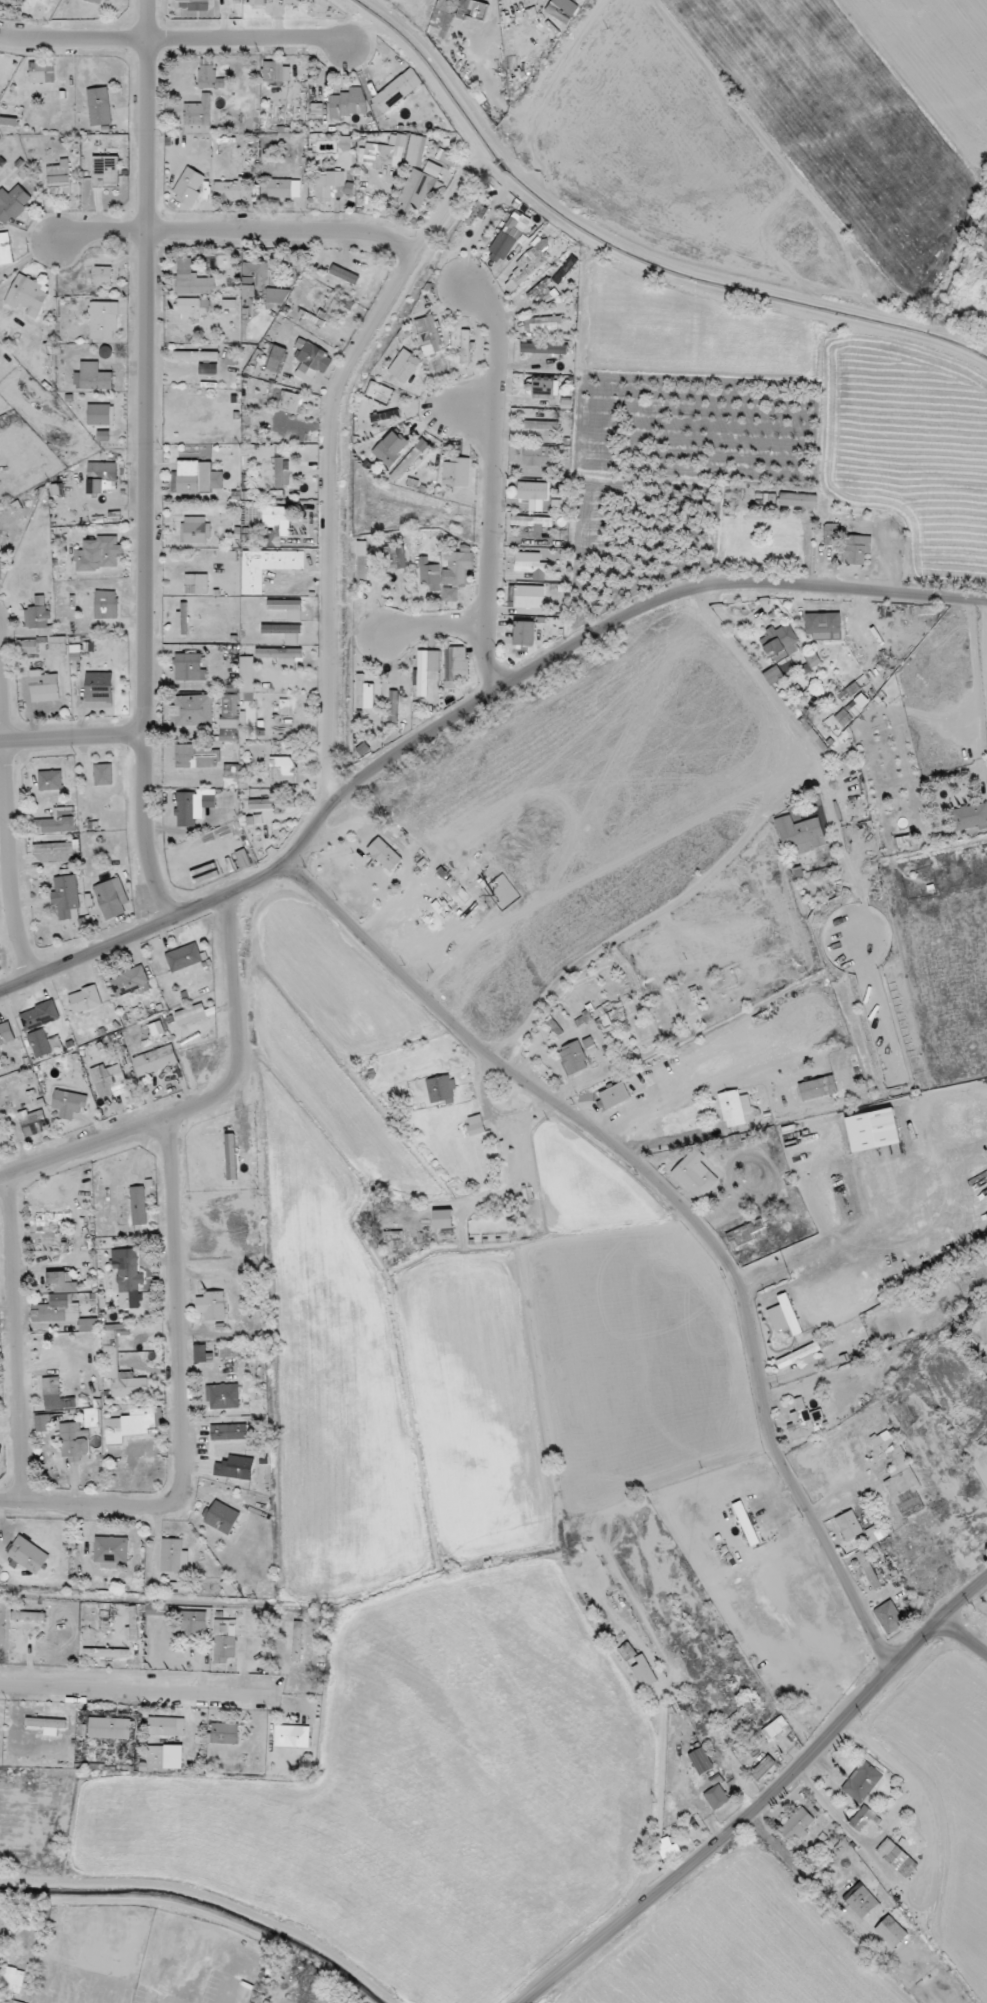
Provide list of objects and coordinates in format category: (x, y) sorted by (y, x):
building: (43, 0)
building: (96, 1)
building: (195, 4)
building: (257, 4)
building: (471, 9)
building: (559, 12)
building: (441, 18)
road: (176, 38)
building: (42, 72)
building: (276, 72)
building: (209, 75)
building: (397, 90)
building: (349, 103)
building: (99, 106)
building: (316, 110)
building: (198, 115)
building: (396, 140)
building: (415, 150)
building: (377, 155)
building: (441, 167)
building: (105, 170)
building: (59, 178)
building: (332, 186)
building: (189, 187)
building: (231, 188)
building: (284, 188)
building: (12, 203)
road: (231, 230)
building: (508, 237)
building: (5, 249)
building: (528, 264)
building: (565, 270)
building: (344, 274)
building: (103, 276)
building: (254, 280)
building: (192, 282)
building: (543, 292)
building: (28, 295)
building: (277, 295)
building: (191, 307)
building: (103, 320)
building: (542, 323)
building: (428, 335)
building: (465, 346)
building: (196, 355)
building: (275, 358)
building: (47, 359)
building: (310, 360)
building: (404, 365)
building: (208, 368)
building: (93, 377)
building: (542, 388)
building: (379, 392)
building: (289, 401)
road: (467, 413)
building: (99, 414)
building: (386, 415)
building: (541, 425)
building: (287, 436)
building: (391, 448)
building: (538, 455)
road: (331, 457)
building: (409, 460)
road: (147, 461)
building: (280, 471)
building: (457, 472)
building: (100, 475)
building: (196, 477)
road: (491, 480)
building: (532, 491)
building: (798, 500)
building: (559, 505)
building: (277, 519)
building: (533, 521)
building: (194, 530)
building: (830, 534)
building: (858, 549)
building: (99, 554)
building: (396, 557)
building: (362, 561)
building: (0, 564)
building: (531, 565)
building: (266, 566)
building: (460, 567)
building: (430, 574)
building: (196, 583)
building: (526, 596)
building: (106, 604)
building: (288, 608)
building: (38, 616)
building: (183, 619)
road: (431, 624)
building: (823, 628)
building: (524, 633)
building: (778, 640)
building: (27, 646)
building: (58, 646)
building: (281, 656)
building: (812, 659)
building: (189, 667)
building: (456, 667)
building: (425, 669)
building: (773, 675)
building: (247, 678)
building: (44, 686)
building: (98, 688)
building: (862, 700)
building: (393, 707)
building: (192, 710)
road: (467, 710)
building: (232, 719)
road: (71, 737)
building: (363, 748)
building: (195, 756)
building: (281, 770)
building: (103, 774)
building: (231, 776)
building: (50, 780)
building: (272, 803)
building: (193, 805)
building: (970, 817)
building: (257, 820)
building: (58, 821)
building: (801, 834)
road: (10, 836)
building: (903, 841)
building: (53, 848)
building: (384, 854)
building: (66, 897)
building: (111, 898)
building: (184, 957)
building: (129, 981)
building: (85, 999)
building: (190, 1014)
building: (39, 1015)
building: (603, 1016)
building: (6, 1033)
building: (40, 1043)
building: (574, 1058)
building: (155, 1060)
building: (109, 1080)
building: (818, 1088)
building: (440, 1089)
building: (615, 1095)
building: (69, 1103)
road: (652, 1103)
road: (207, 1104)
building: (746, 1104)
building: (732, 1108)
building: (33, 1122)
building: (475, 1125)
road: (667, 1140)
building: (230, 1156)
building: (695, 1174)
building: (865, 1187)
road: (678, 1203)
building: (138, 1205)
building: (53, 1217)
building: (443, 1219)
building: (744, 1233)
building: (393, 1241)
building: (127, 1277)
building: (62, 1282)
building: (212, 1305)
building: (56, 1309)
building: (784, 1316)
building: (88, 1325)
road: (18, 1340)
building: (825, 1342)
building: (230, 1351)
building: (111, 1353)
building: (202, 1354)
building: (799, 1356)
building: (51, 1390)
building: (223, 1396)
road: (183, 1397)
building: (91, 1417)
building: (803, 1420)
building: (42, 1423)
building: (130, 1424)
building: (229, 1432)
building: (74, 1441)
building: (235, 1468)
road: (837, 1469)
building: (900, 1475)
building: (221, 1517)
building: (746, 1523)
building: (849, 1525)
building: (874, 1537)
building: (111, 1549)
building: (28, 1555)
building: (174, 1556)
building: (869, 1571)
building: (179, 1587)
building: (155, 1610)
building: (28, 1616)
building: (889, 1617)
building: (194, 1623)
building: (132, 1625)
road: (962, 1640)
building: (297, 1641)
building: (224, 1642)
building: (627, 1651)
building: (106, 1653)
building: (644, 1672)
road: (140, 1694)
road: (740, 1702)
building: (735, 1724)
building: (47, 1725)
building: (166, 1726)
building: (109, 1728)
building: (774, 1729)
building: (223, 1733)
building: (292, 1736)
building: (754, 1740)
building: (165, 1757)
building: (701, 1761)
building: (763, 1768)
building: (862, 1782)
building: (716, 1797)
road: (766, 1801)
road: (827, 1809)
building: (862, 1818)
building: (796, 1826)
building: (897, 1858)
building: (861, 1900)
building: (891, 1932)
road: (714, 1946)
building: (11, 1983)

